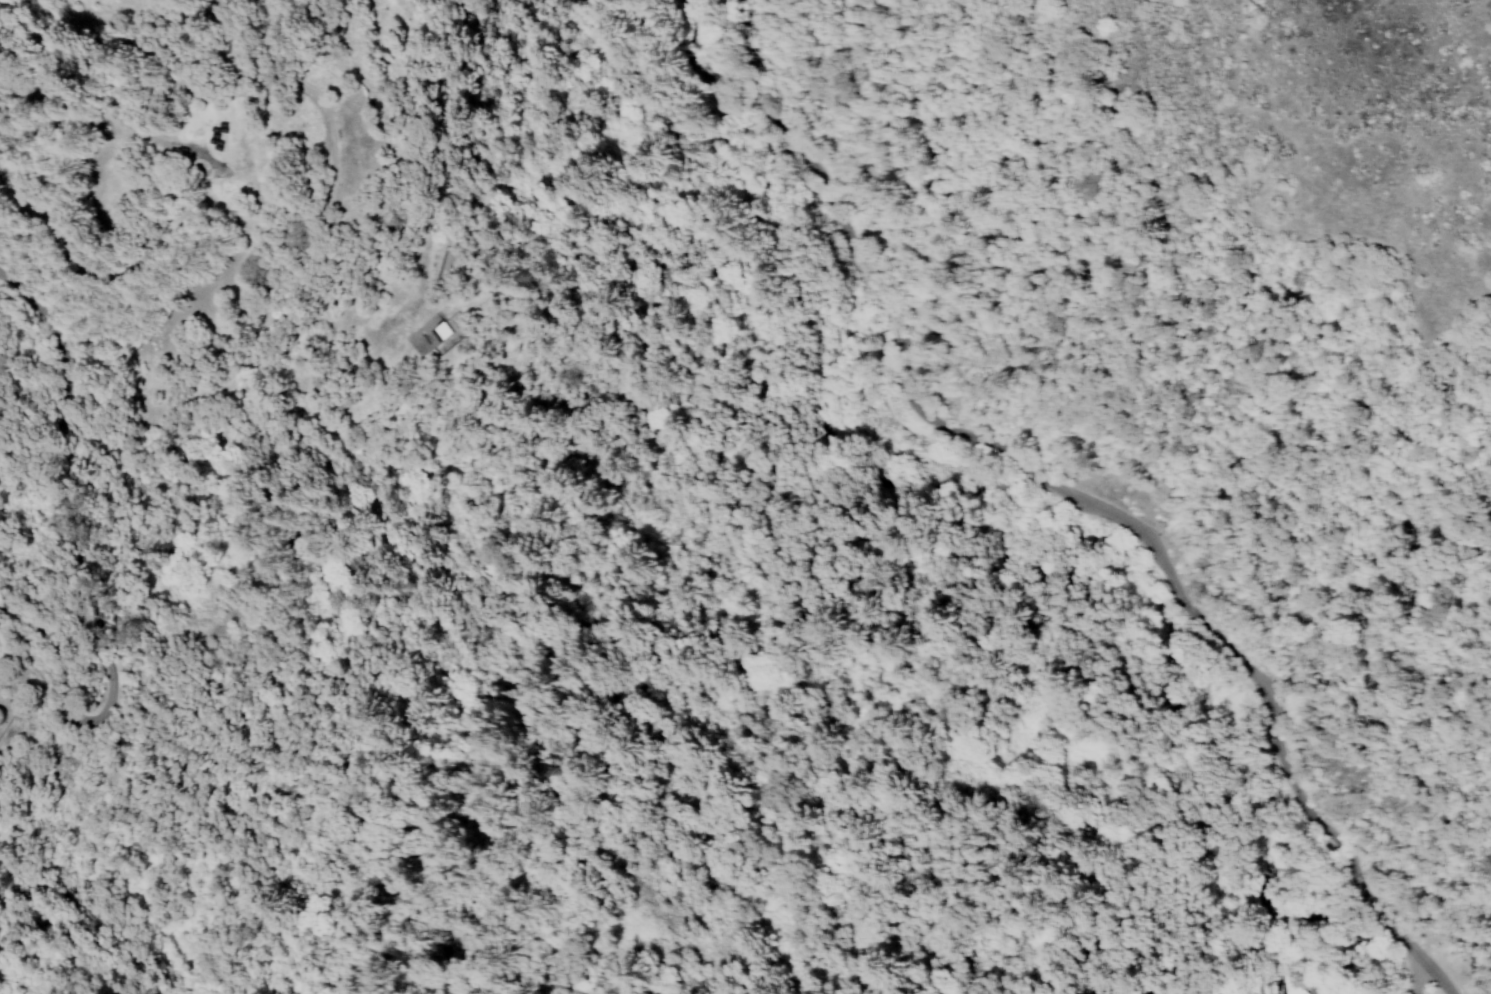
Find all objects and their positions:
road: (1157, 315)
building: (426, 335)
road: (899, 365)
road: (1485, 406)
road: (846, 421)
road: (1478, 697)
building: (2, 717)
storage tank: (2, 717)
road: (1266, 717)
road: (1356, 893)
road: (1423, 961)
road: (1407, 970)
building: (1287, 985)
road: (1441, 986)

